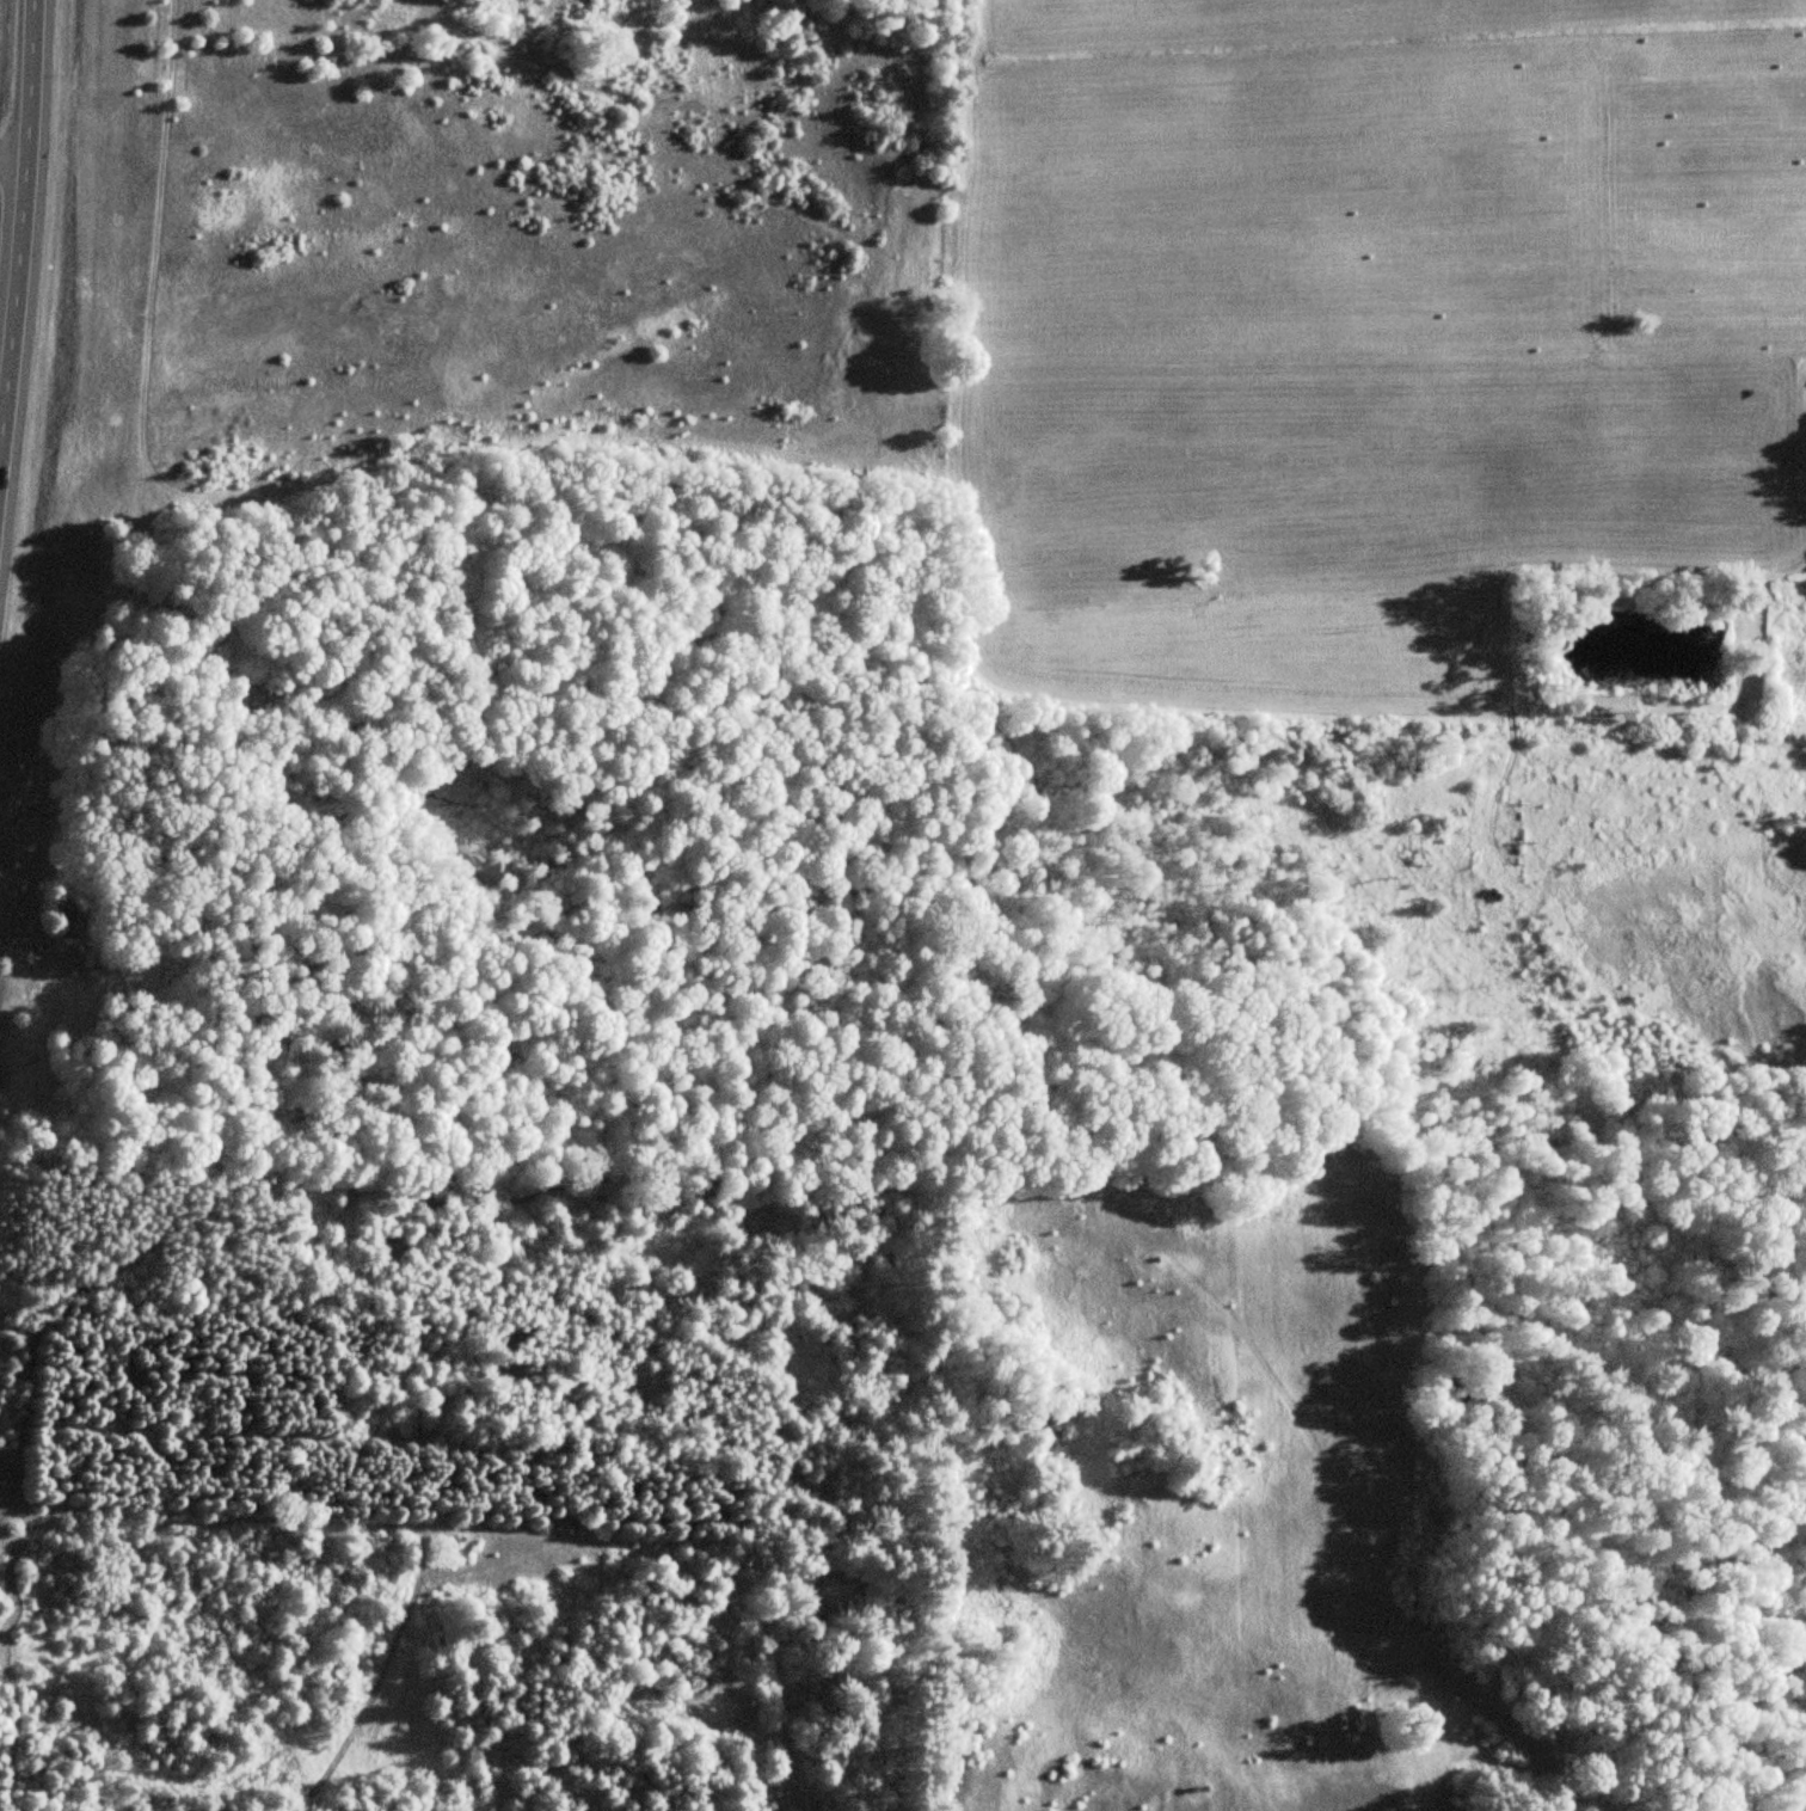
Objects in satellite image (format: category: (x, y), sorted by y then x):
road: (23, 165)
road: (35, 247)

